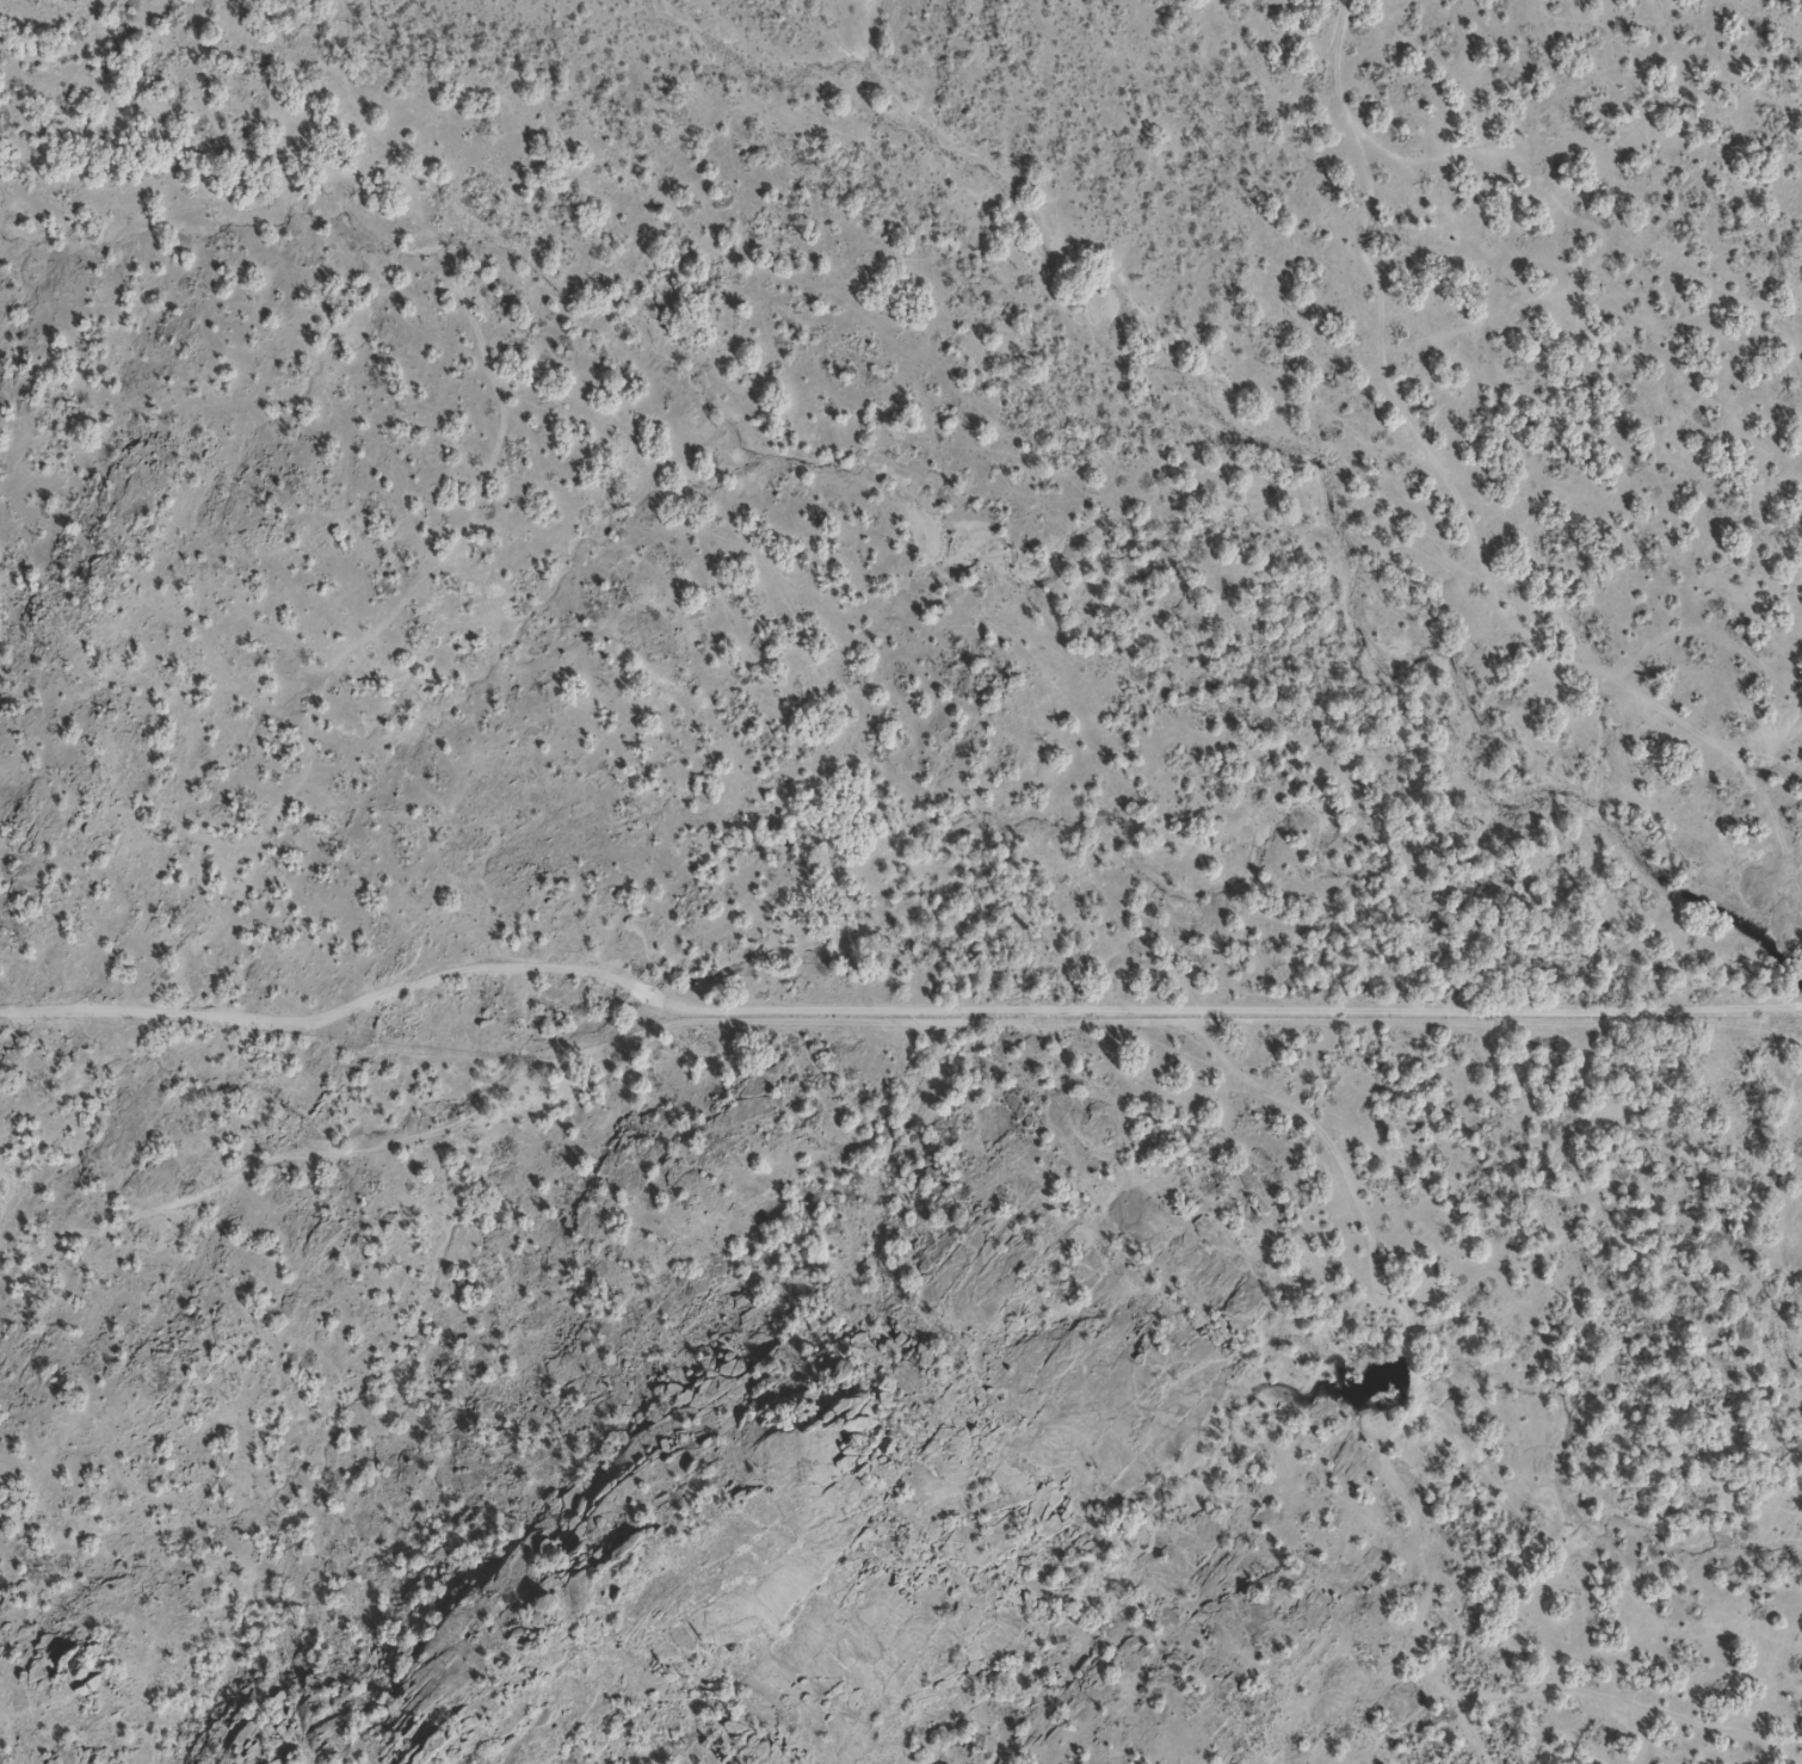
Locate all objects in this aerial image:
road: (893, 1012)

